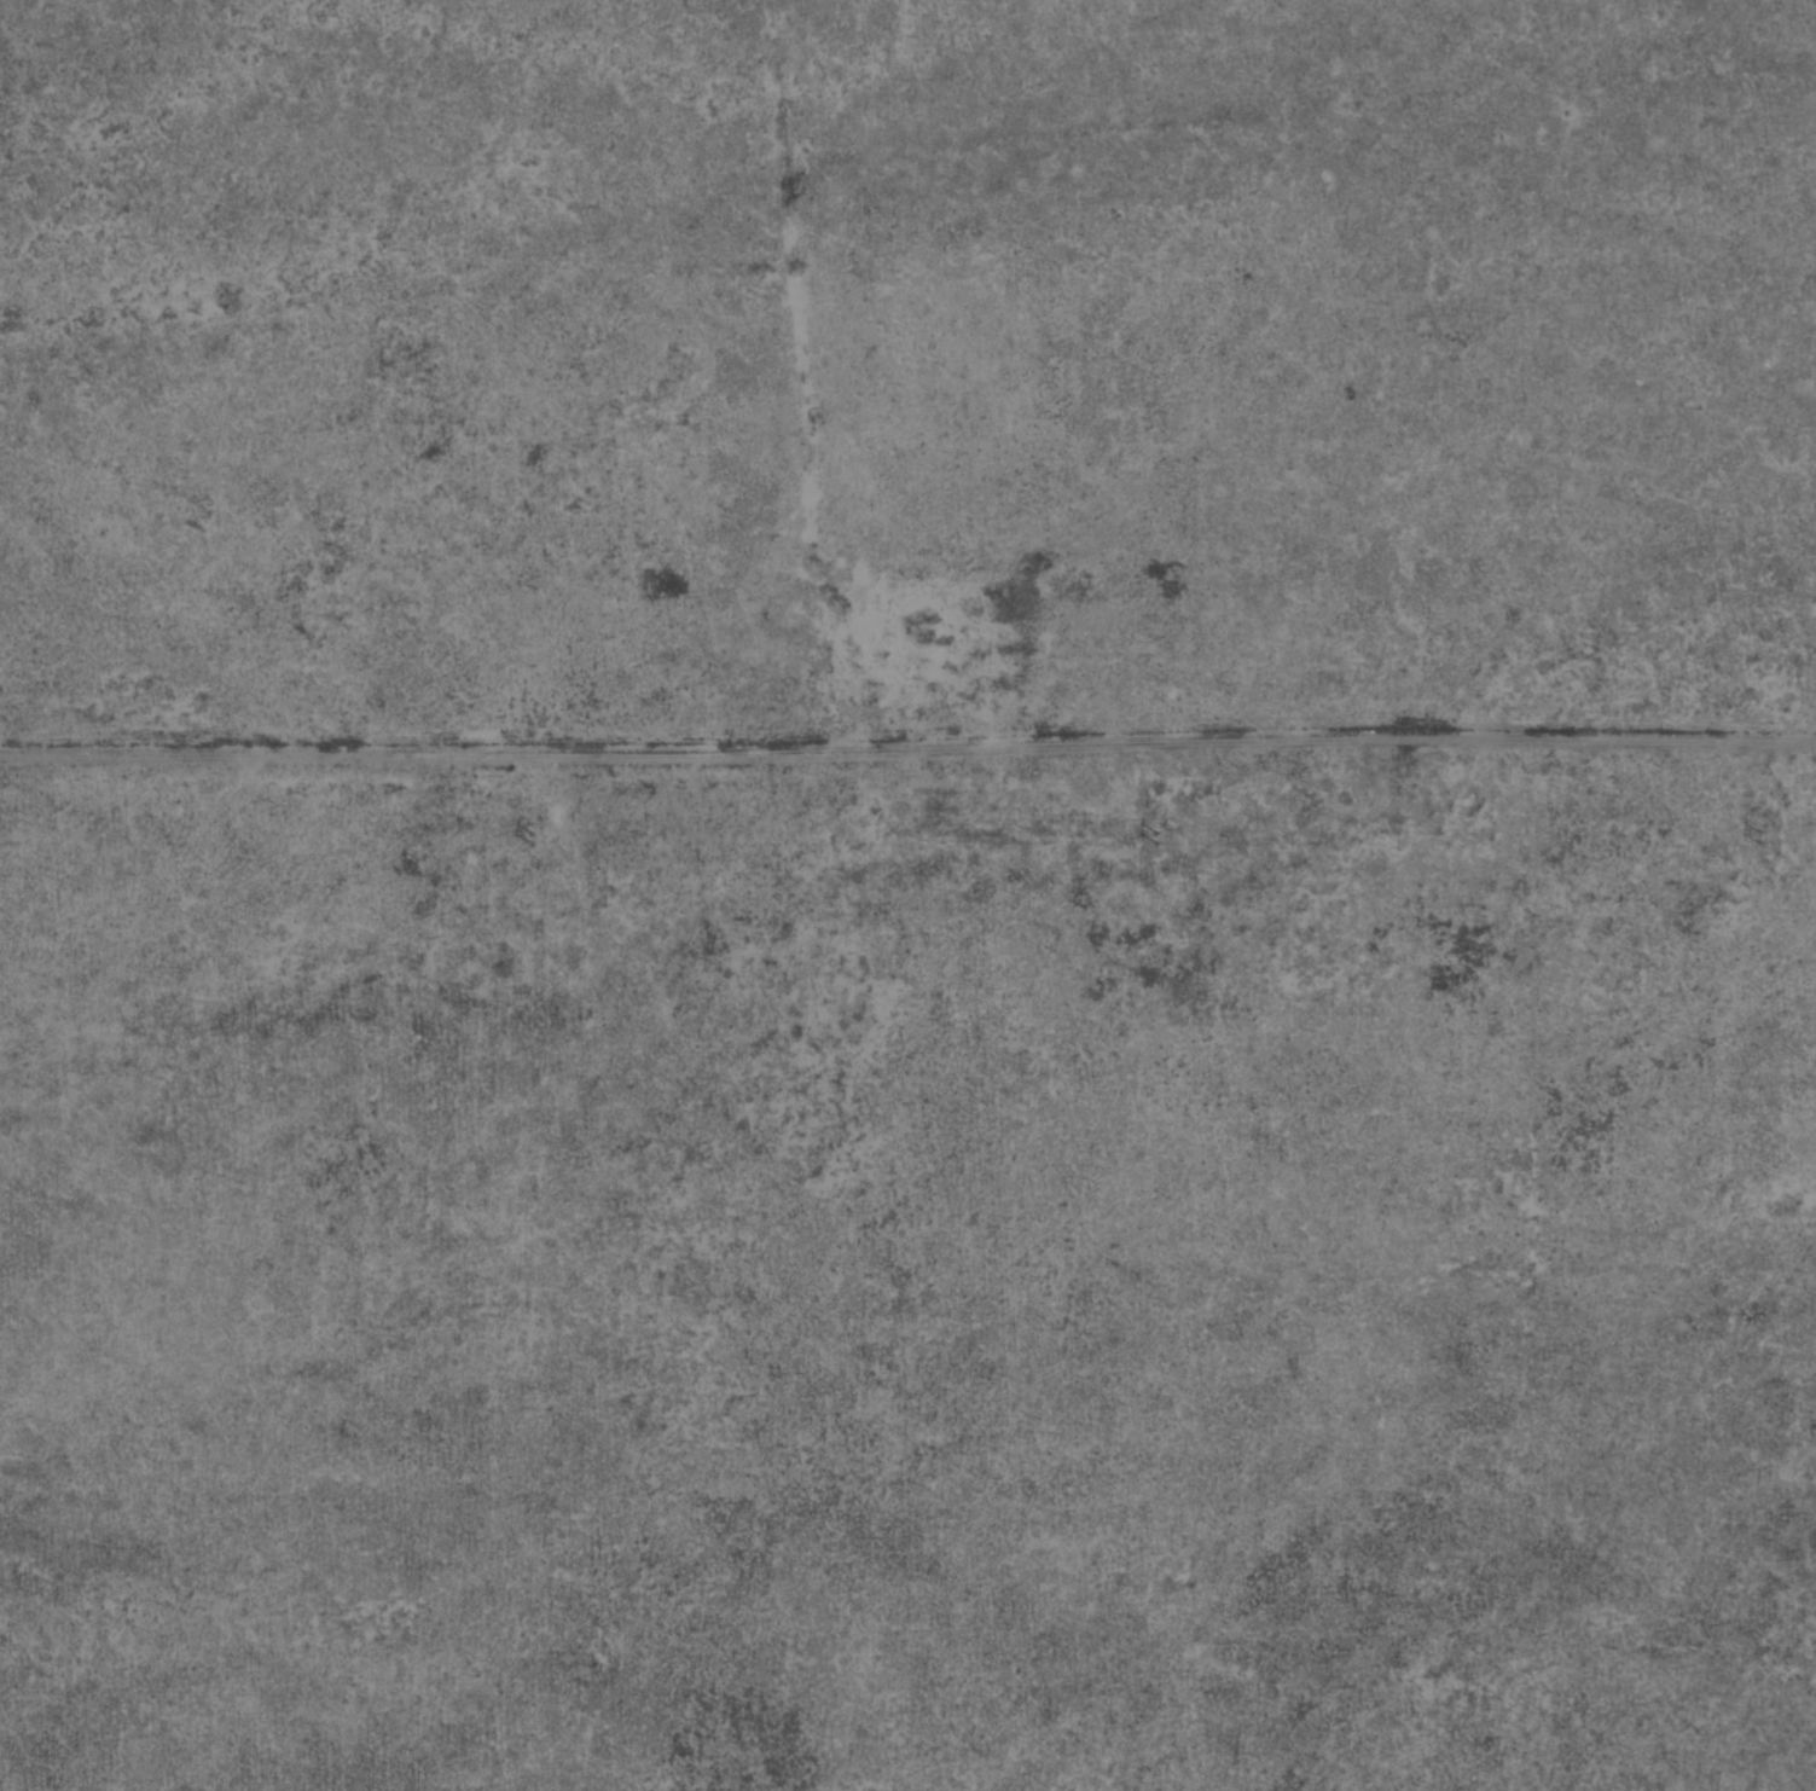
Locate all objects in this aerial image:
power tower: (1757, 836)
power tower: (1155, 837)
power tower: (532, 840)

